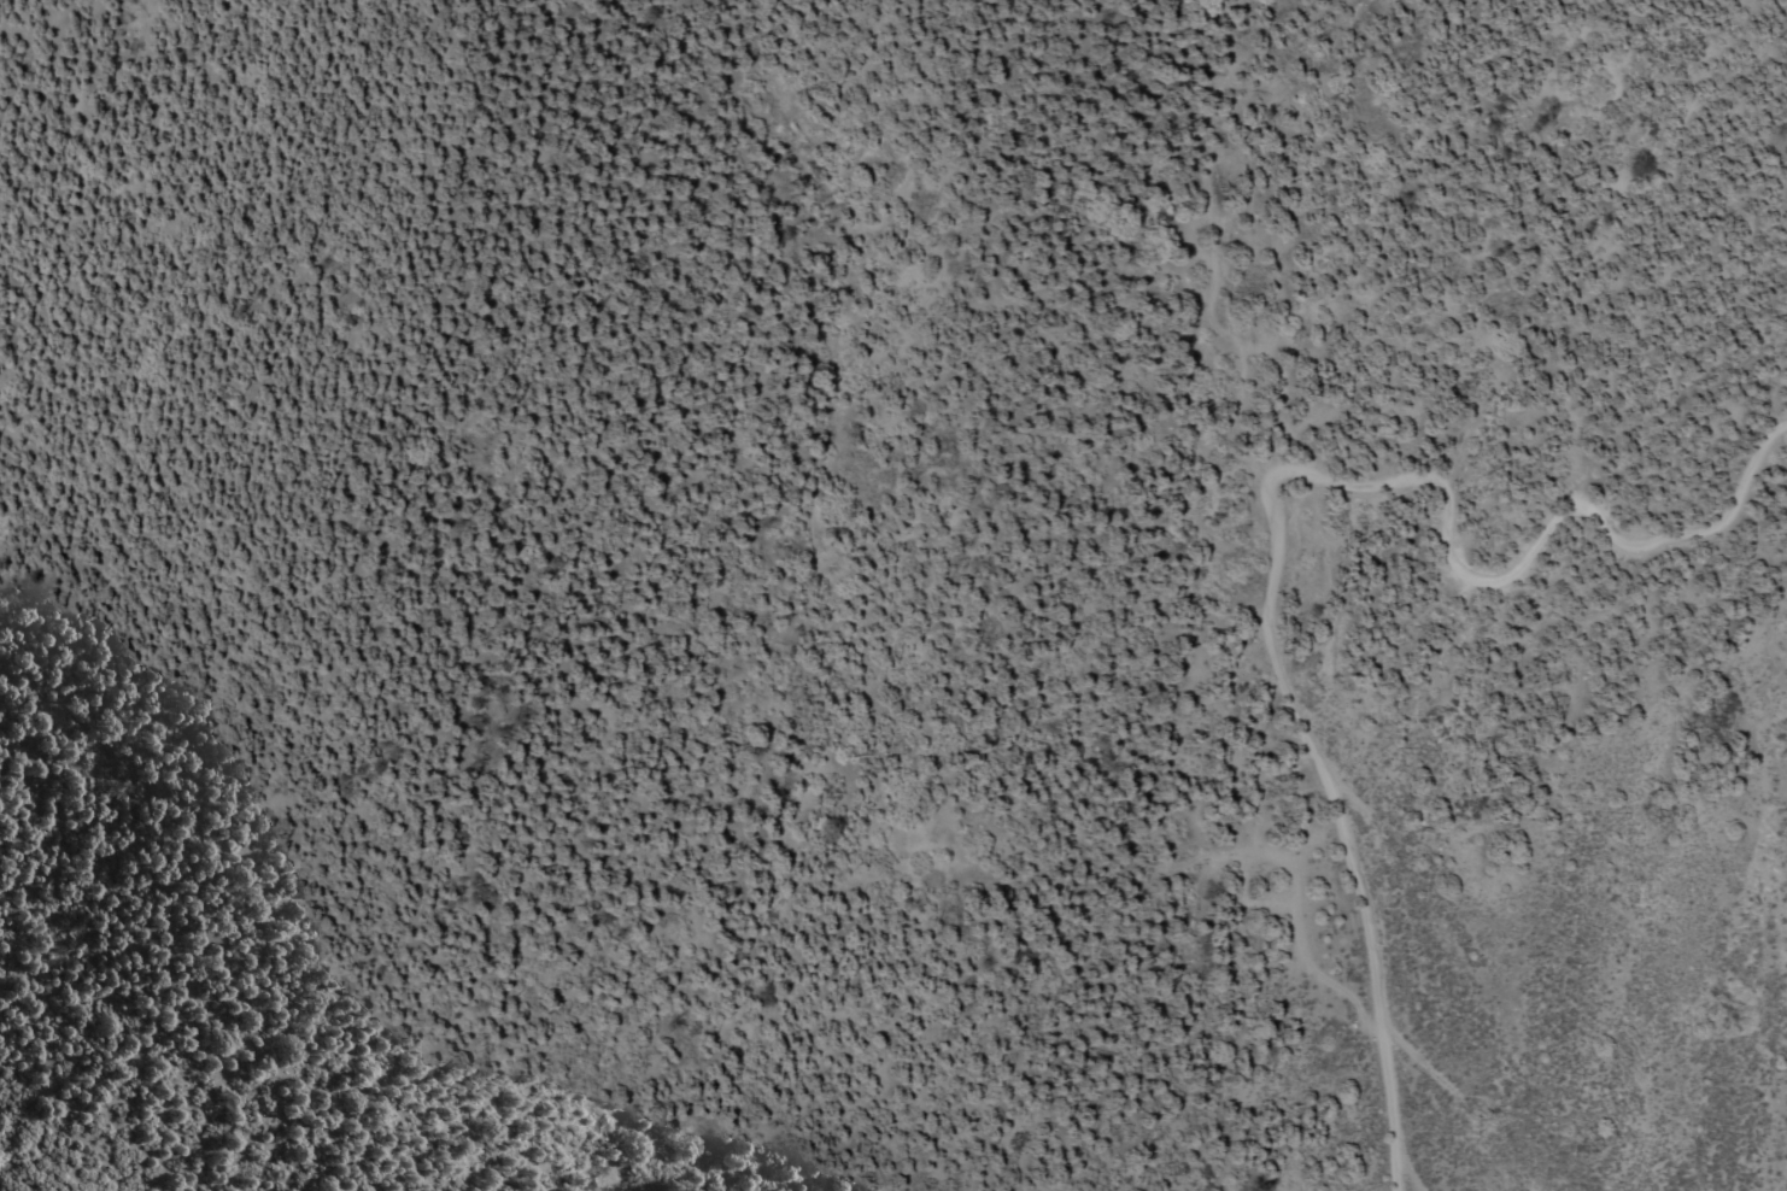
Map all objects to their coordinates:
road: (1270, 497)

